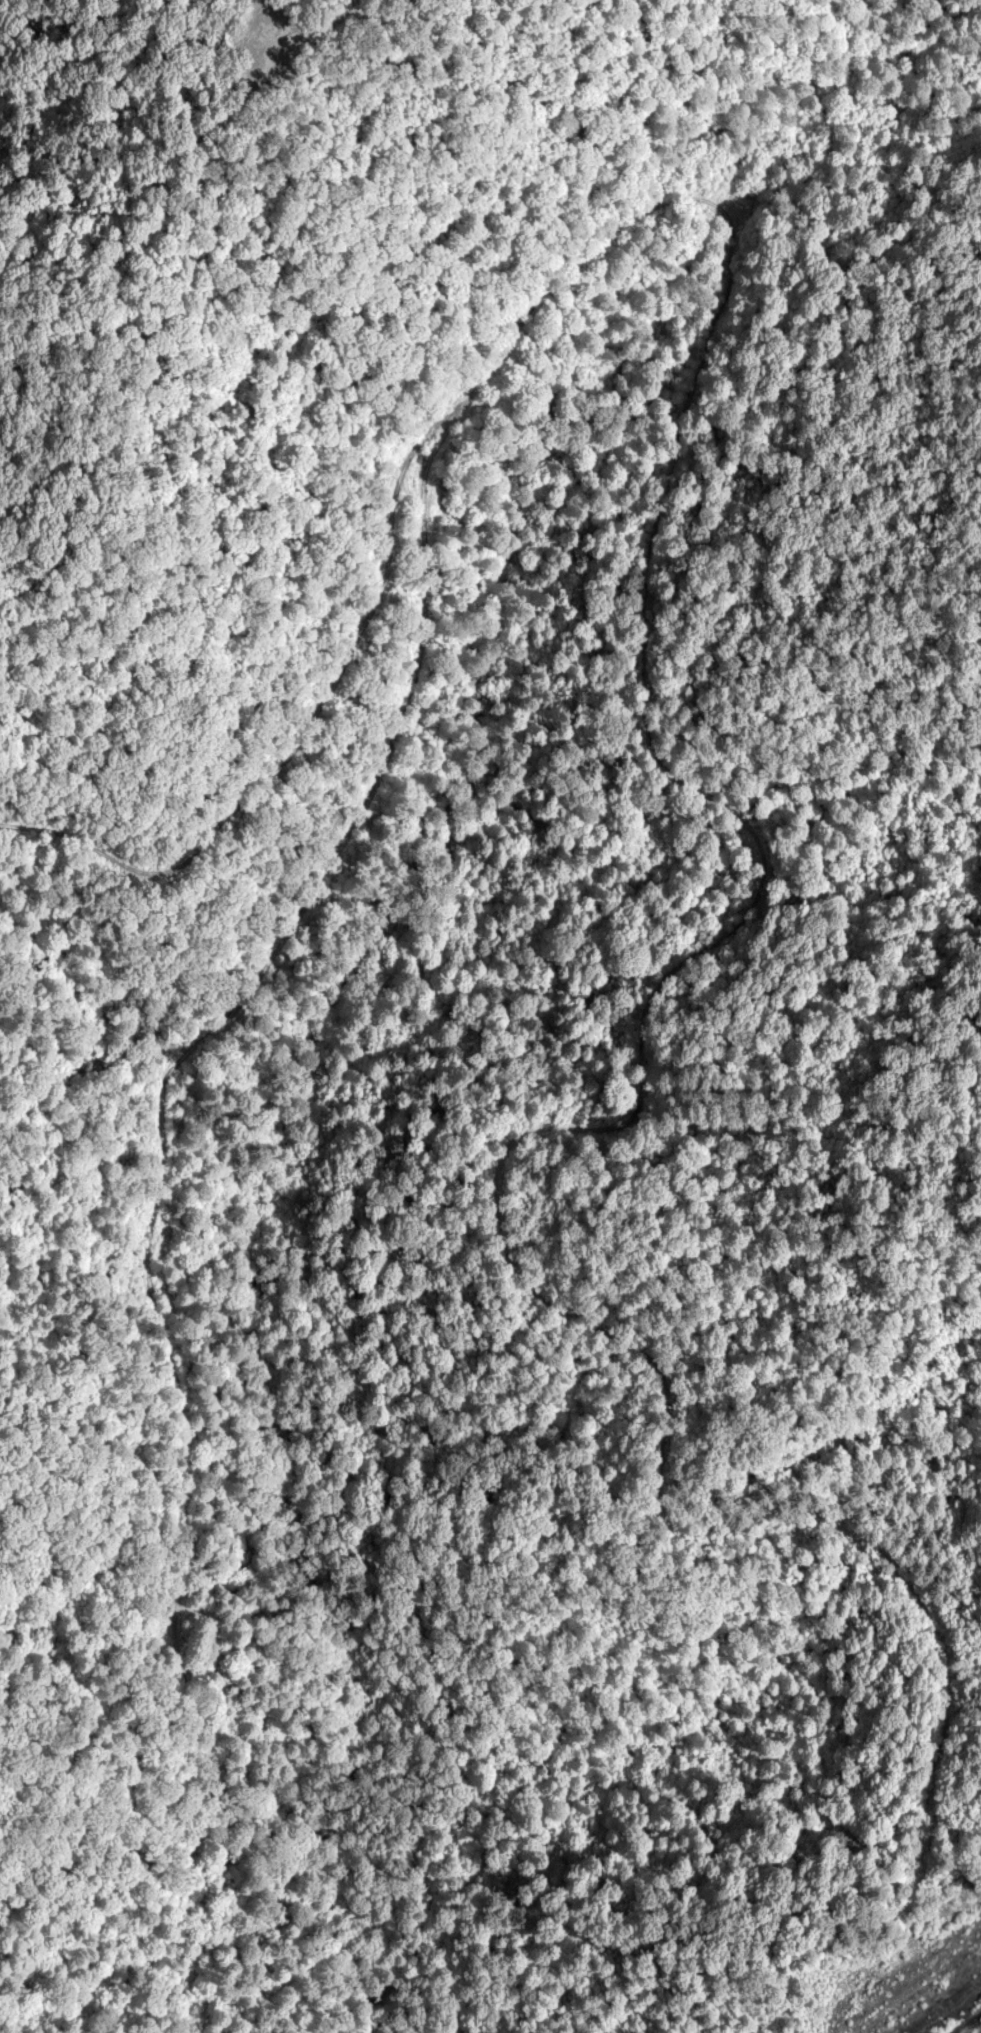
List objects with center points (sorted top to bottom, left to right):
quarry: (907, 1968)

